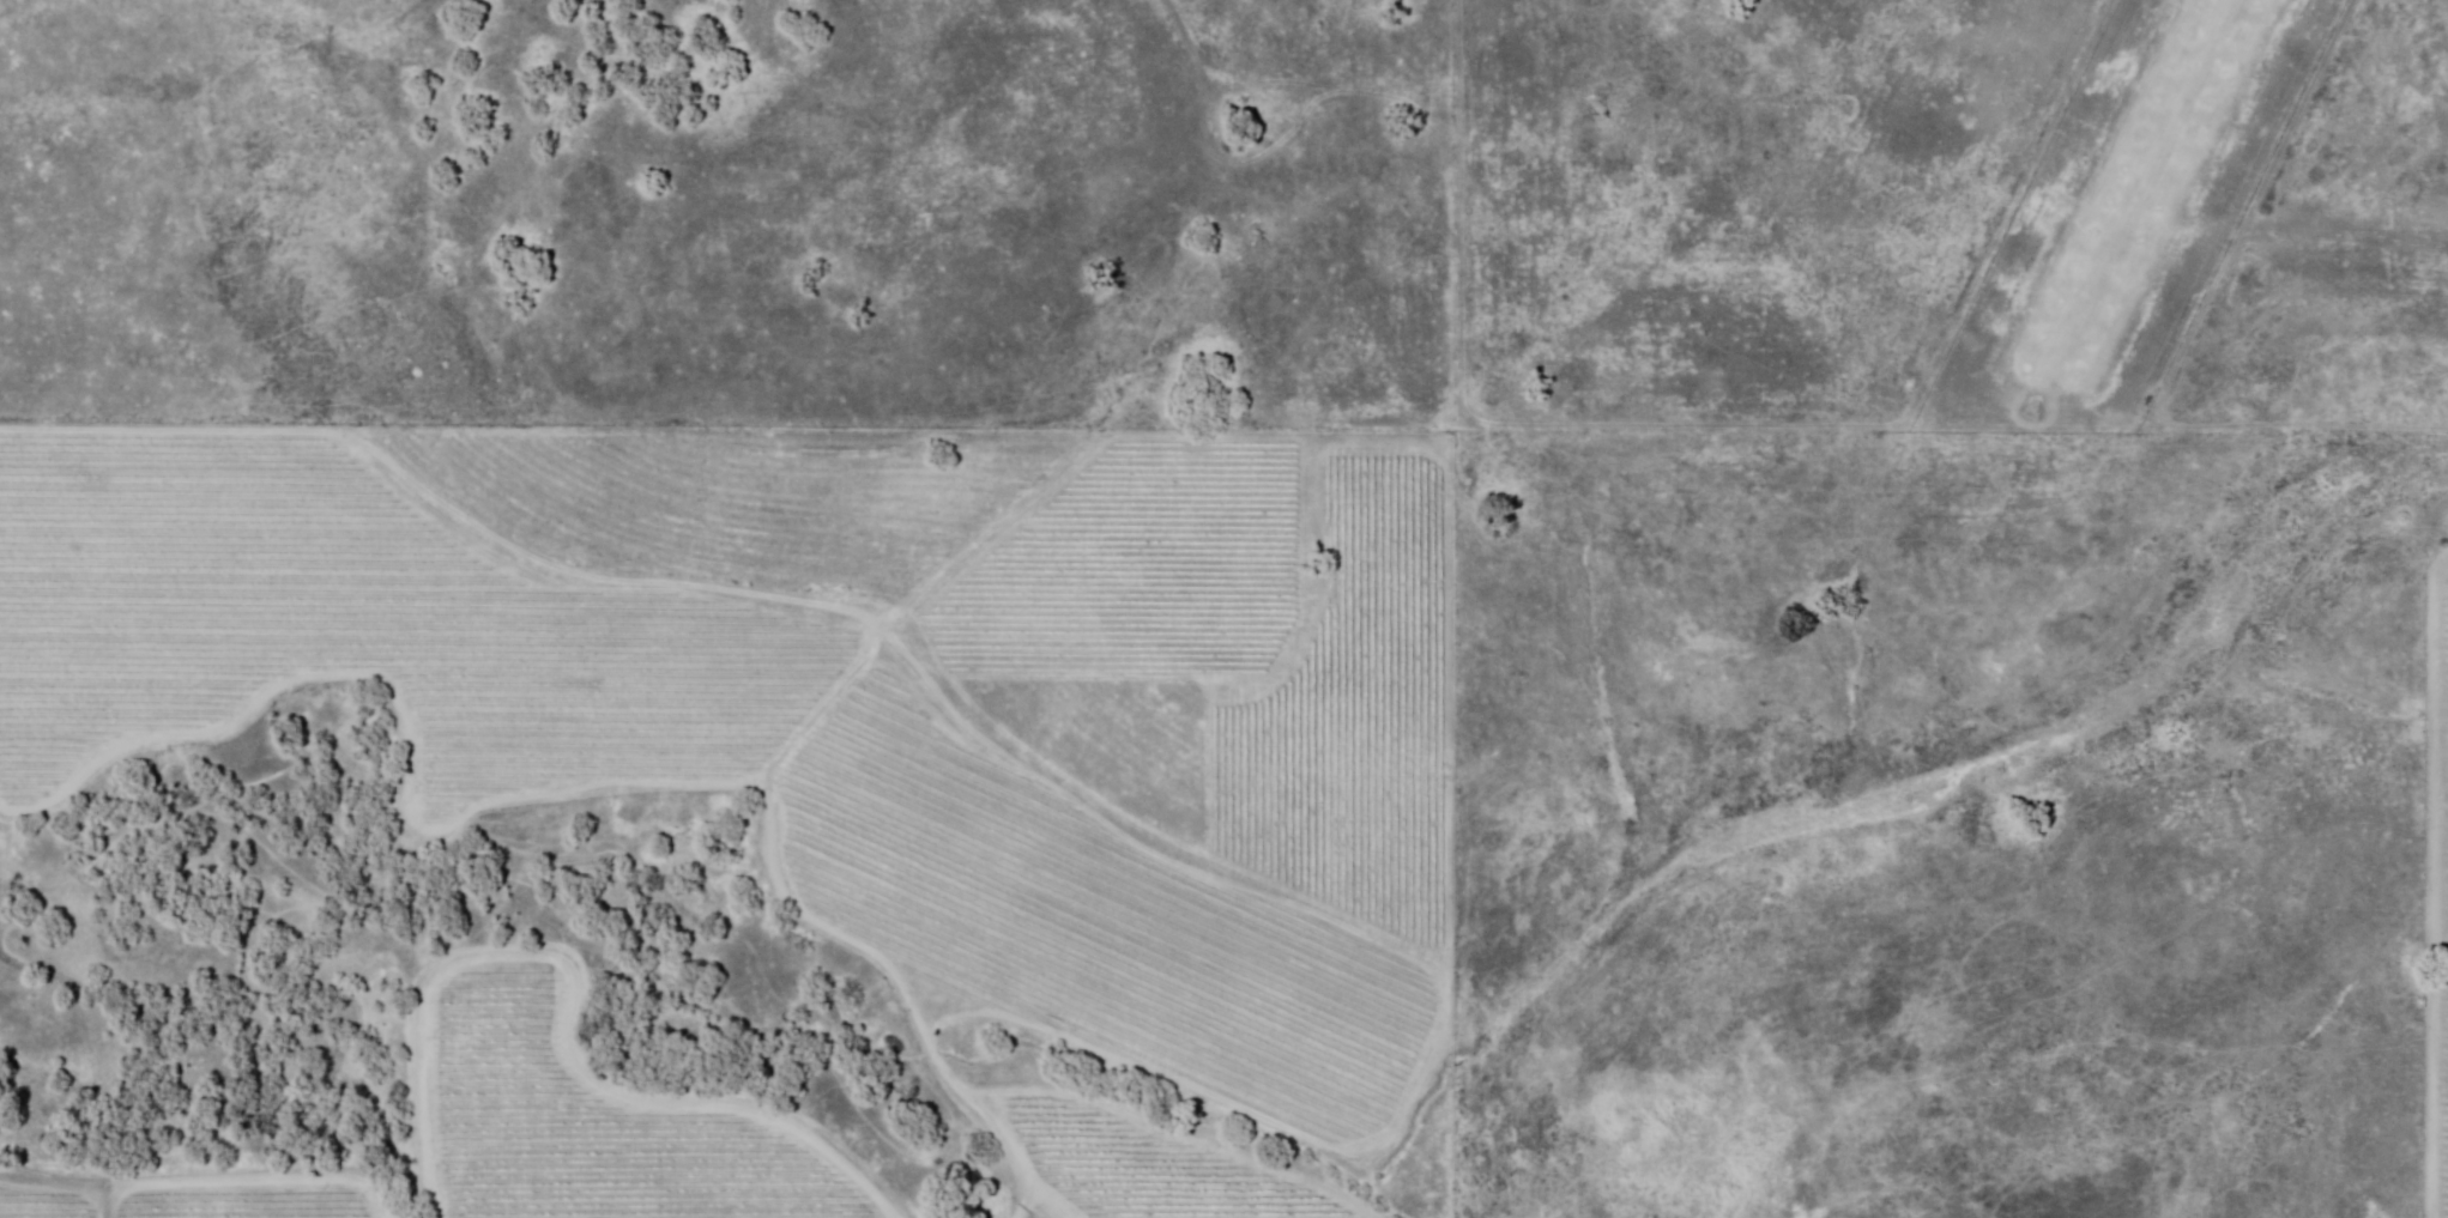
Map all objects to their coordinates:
airport: (2126, 217)
airport runway: (2025, 425)

